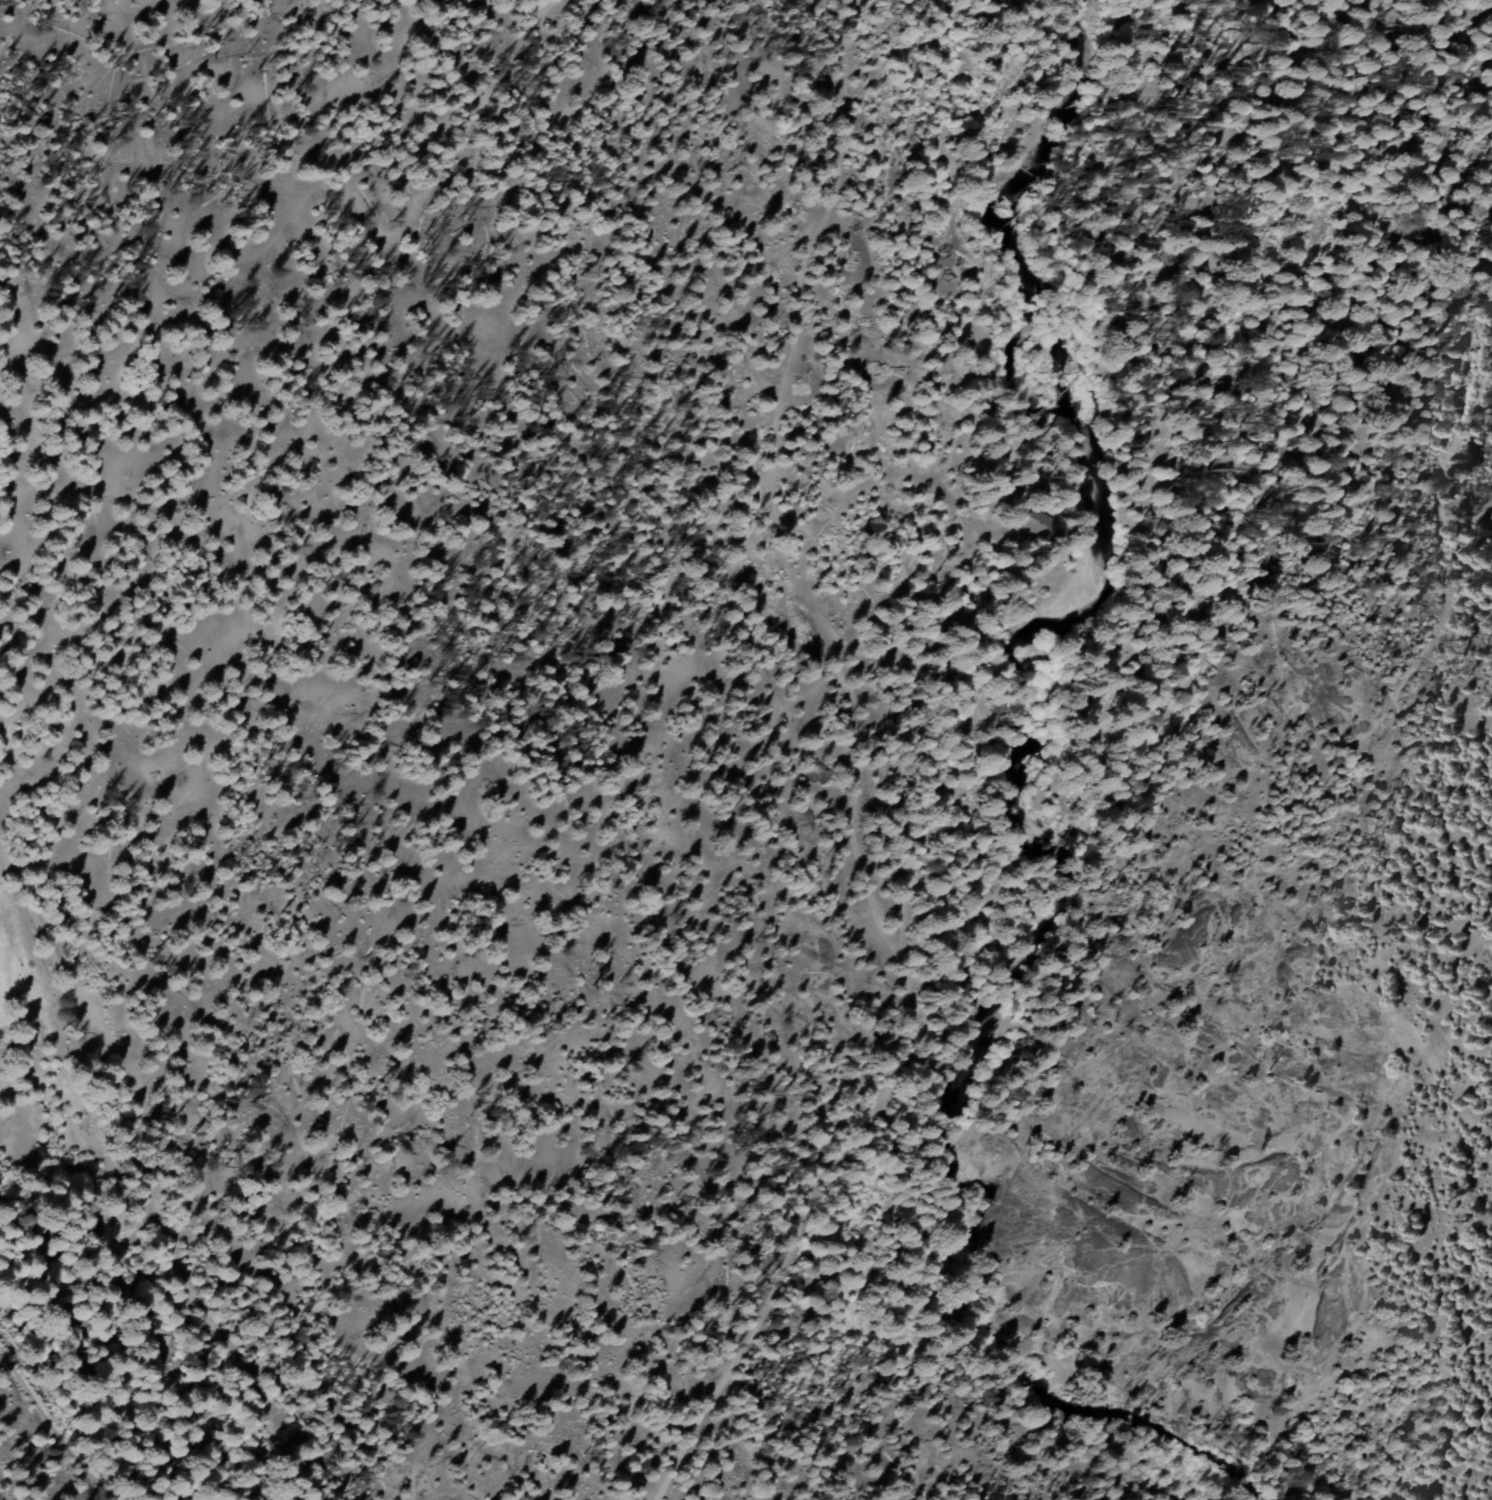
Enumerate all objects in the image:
road: (1443, 526)
road: (843, 771)
road: (146, 1162)
road: (56, 1428)

